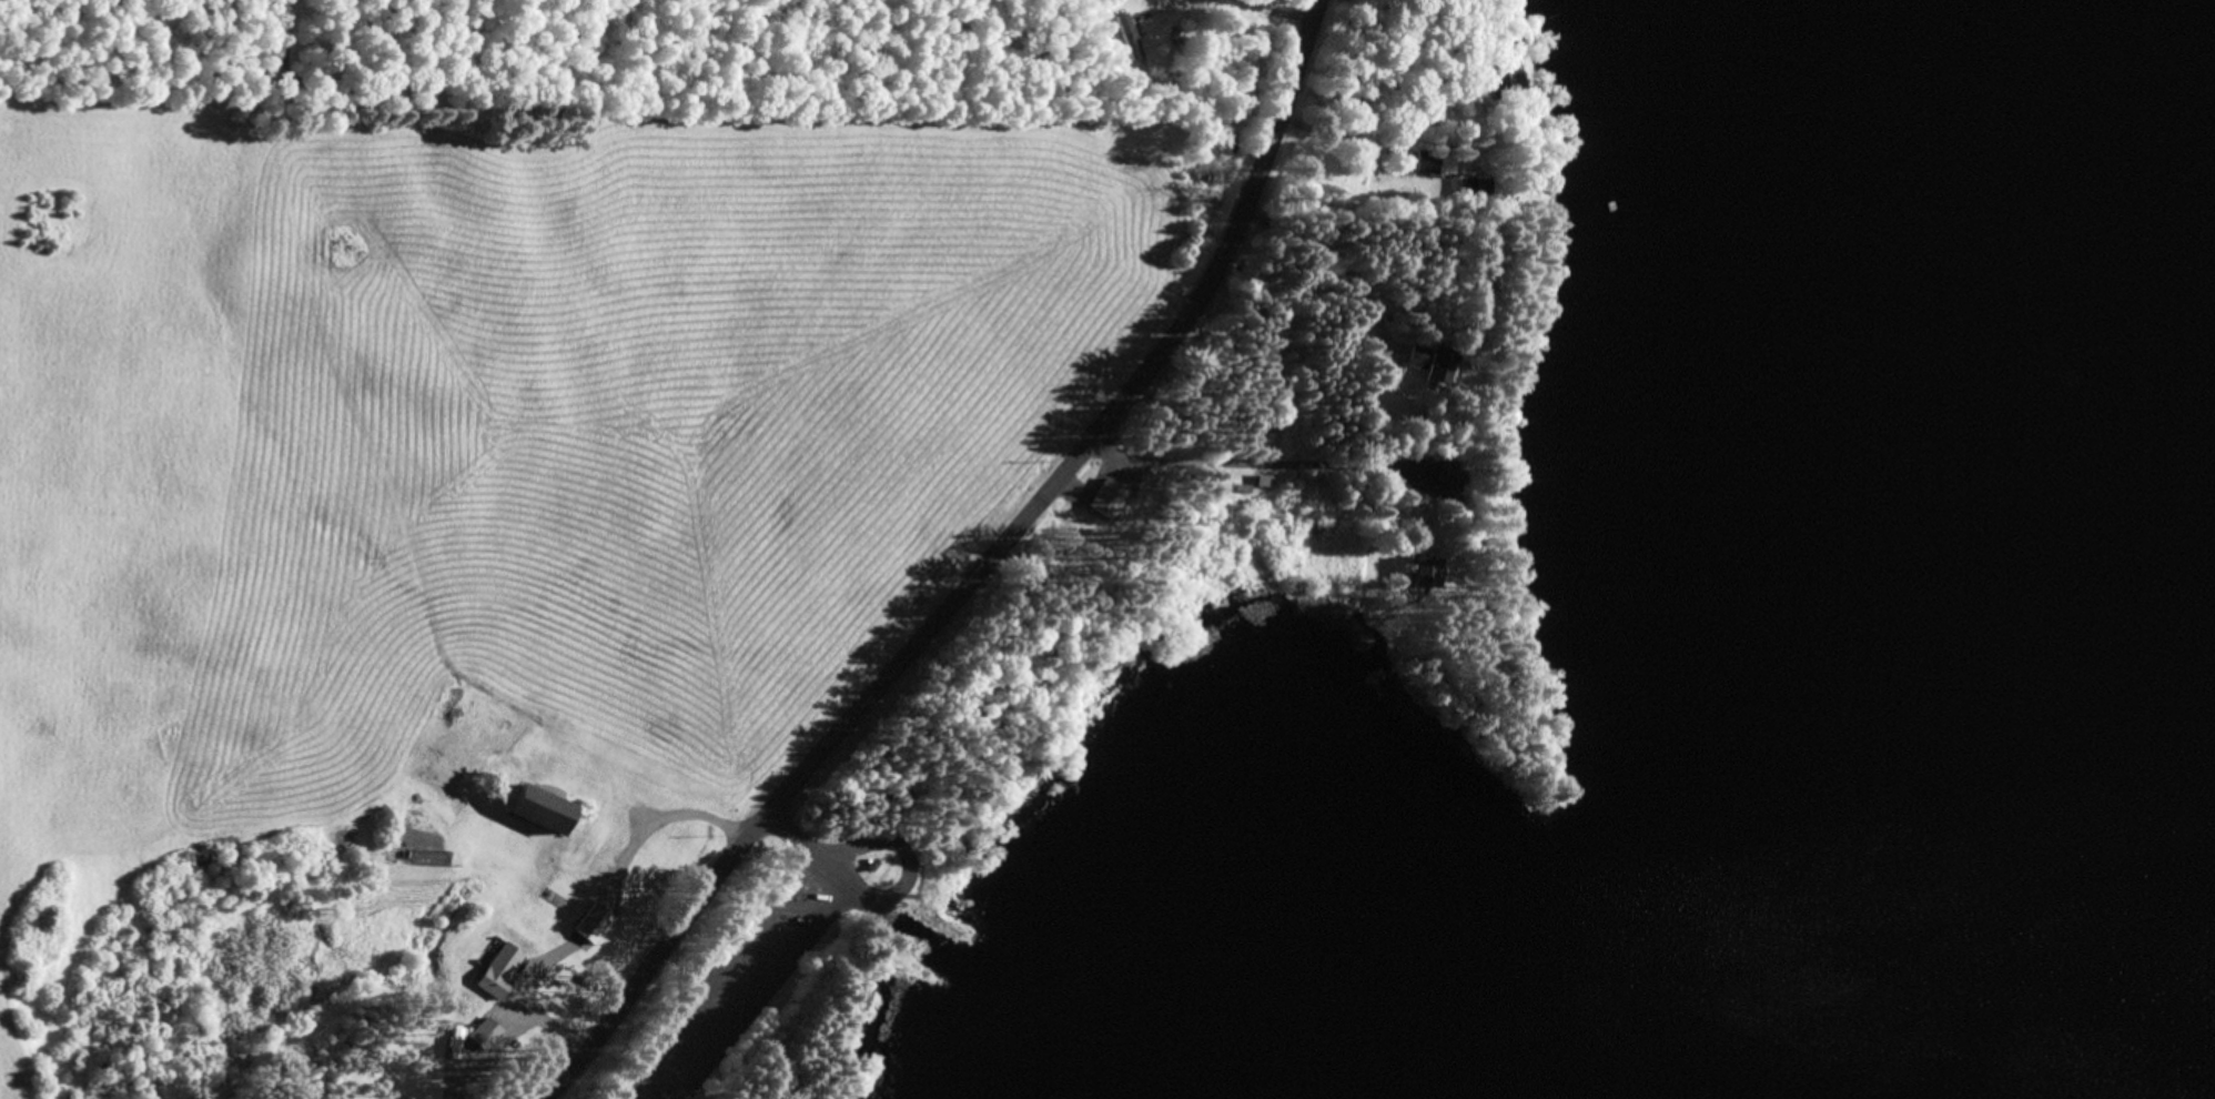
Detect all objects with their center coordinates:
building: (1130, 34)
building: (1504, 42)
building: (1506, 80)
building: (1427, 162)
building: (1471, 193)
road: (1334, 271)
building: (1435, 364)
road: (1257, 464)
building: (1454, 475)
building: (1263, 484)
building: (1237, 492)
building: (1429, 571)
road: (980, 576)
building: (544, 808)
building: (595, 924)
building: (498, 974)
building: (486, 1034)
building: (456, 1041)

